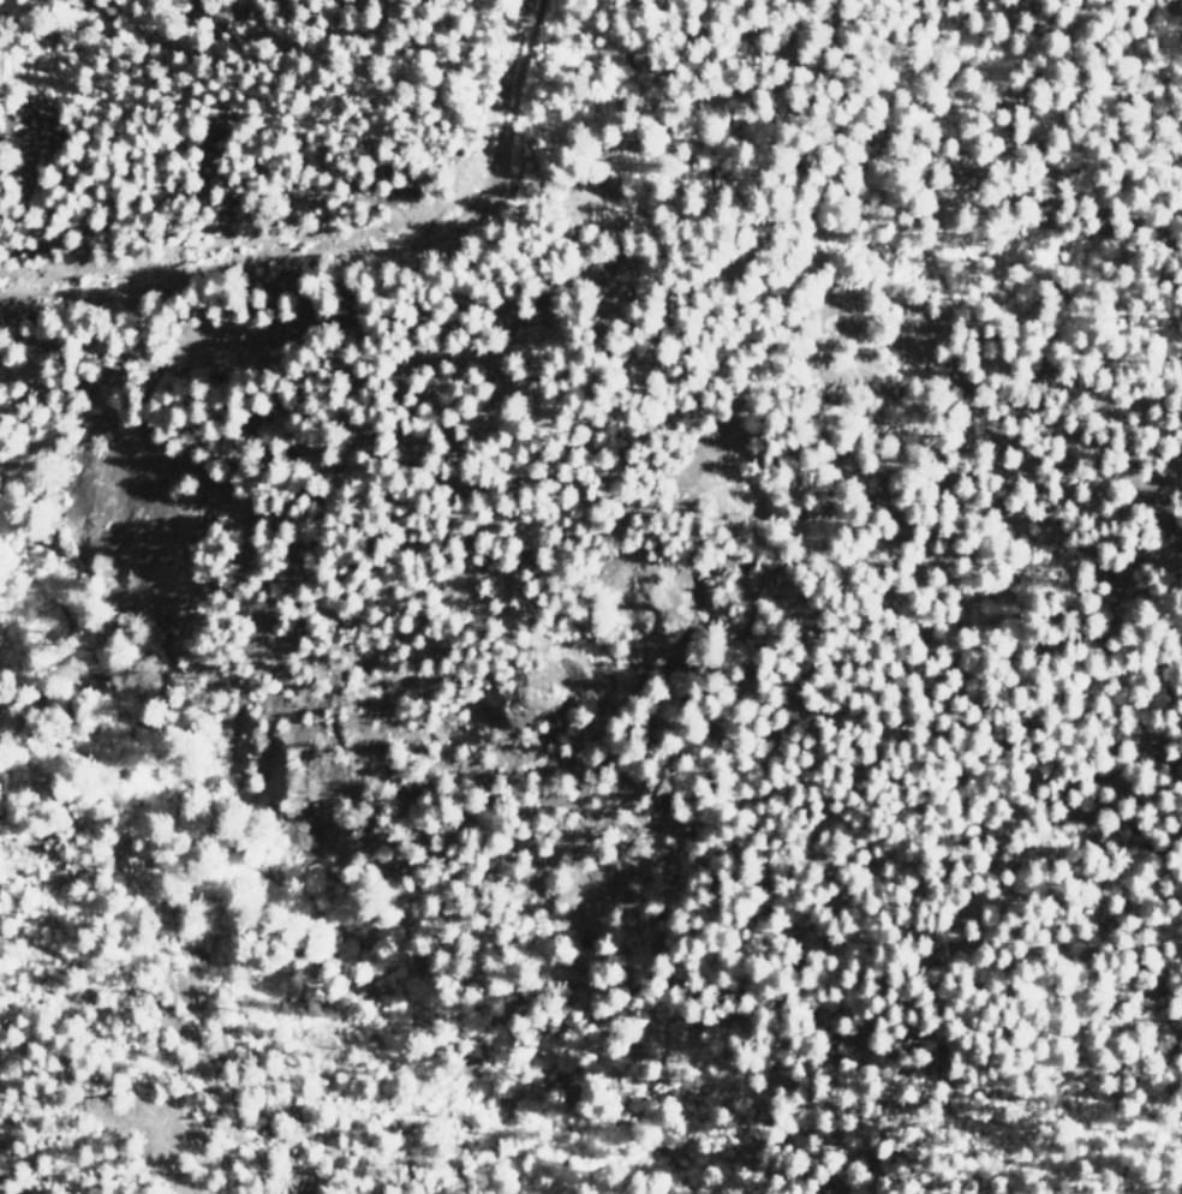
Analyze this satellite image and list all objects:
road: (305, 245)

